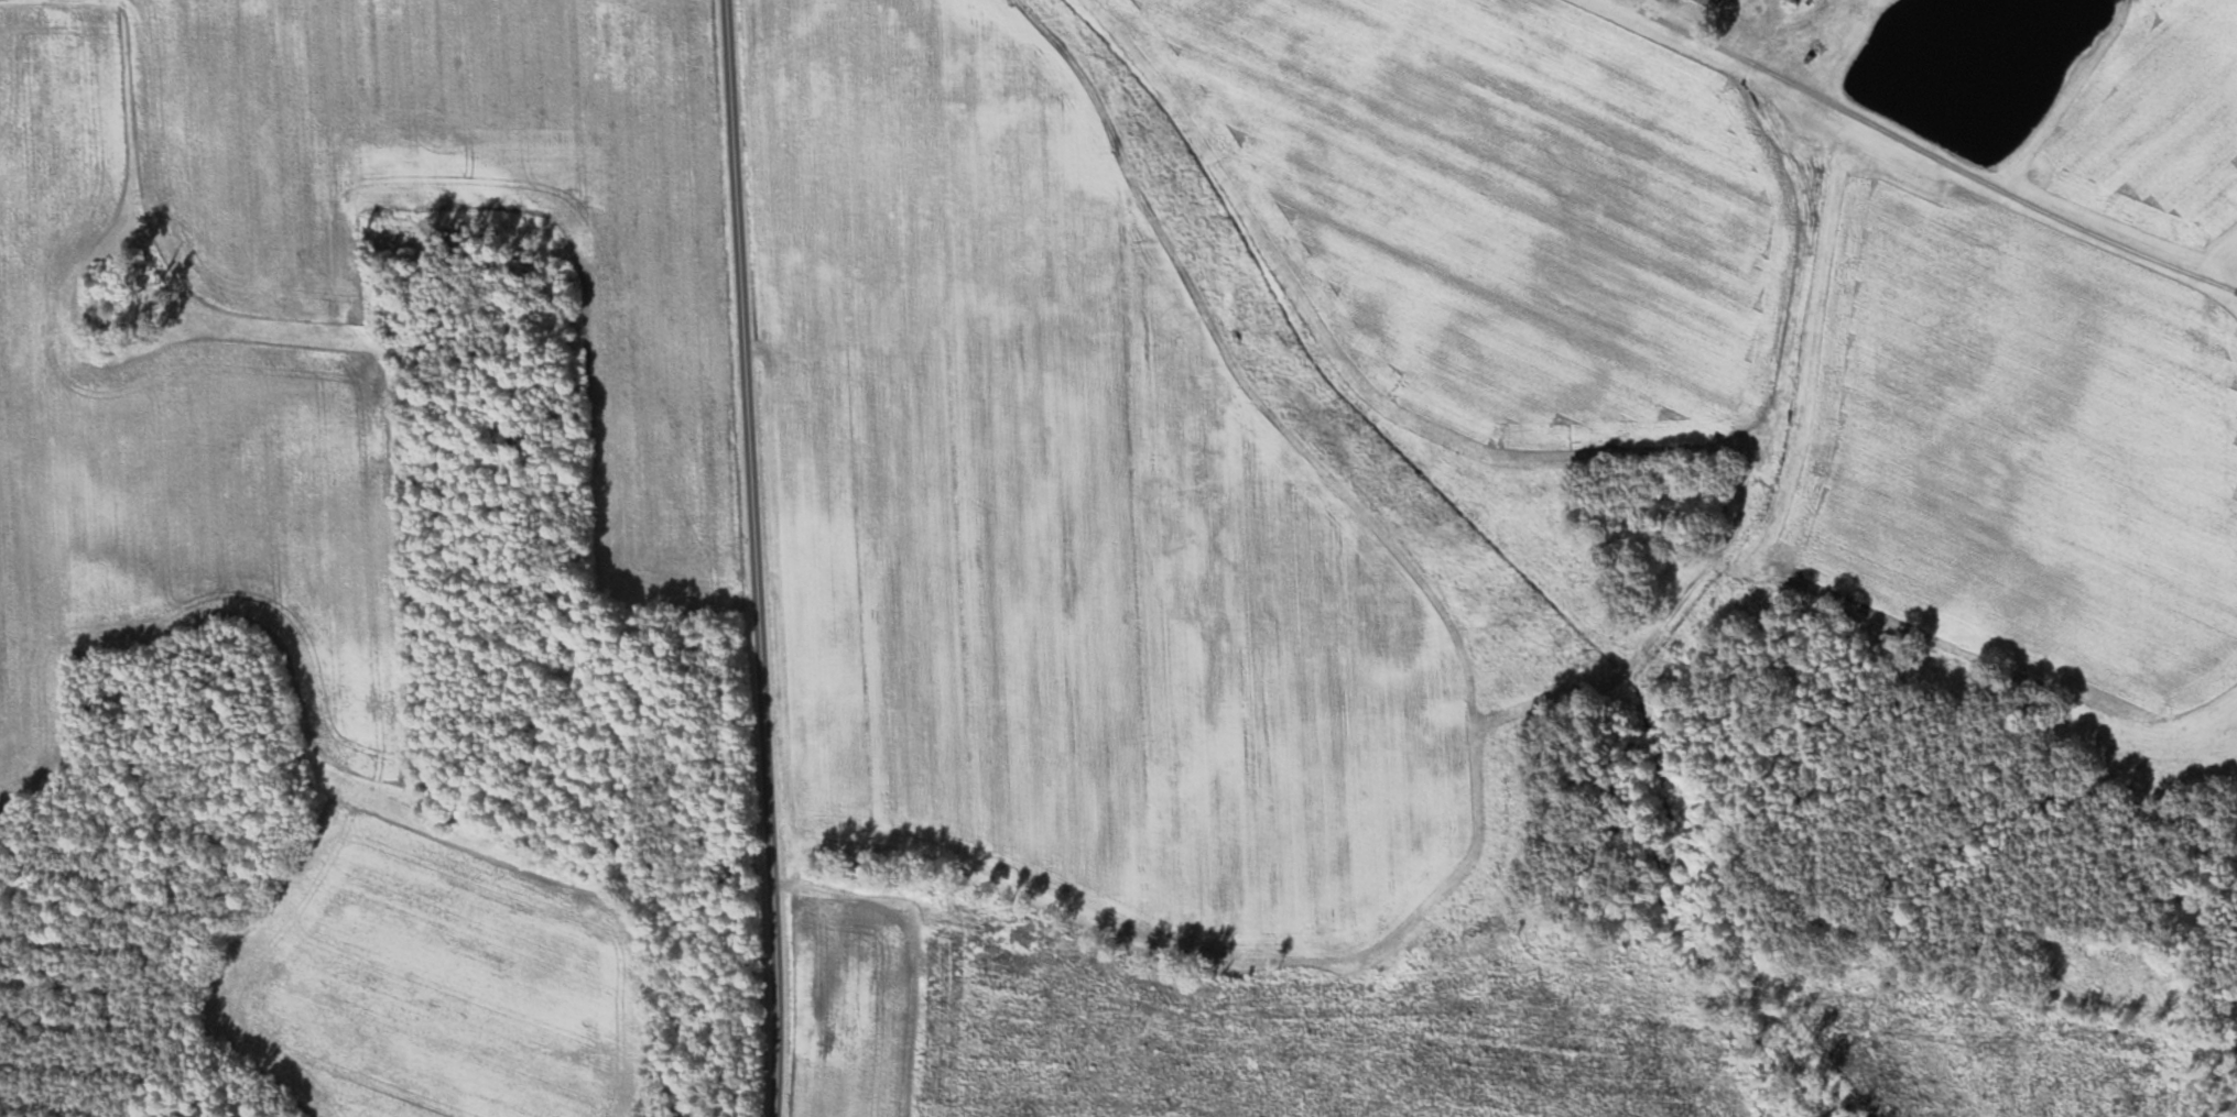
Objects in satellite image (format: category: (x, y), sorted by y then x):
building: (1725, 8)
road: (1923, 151)
road: (757, 558)

